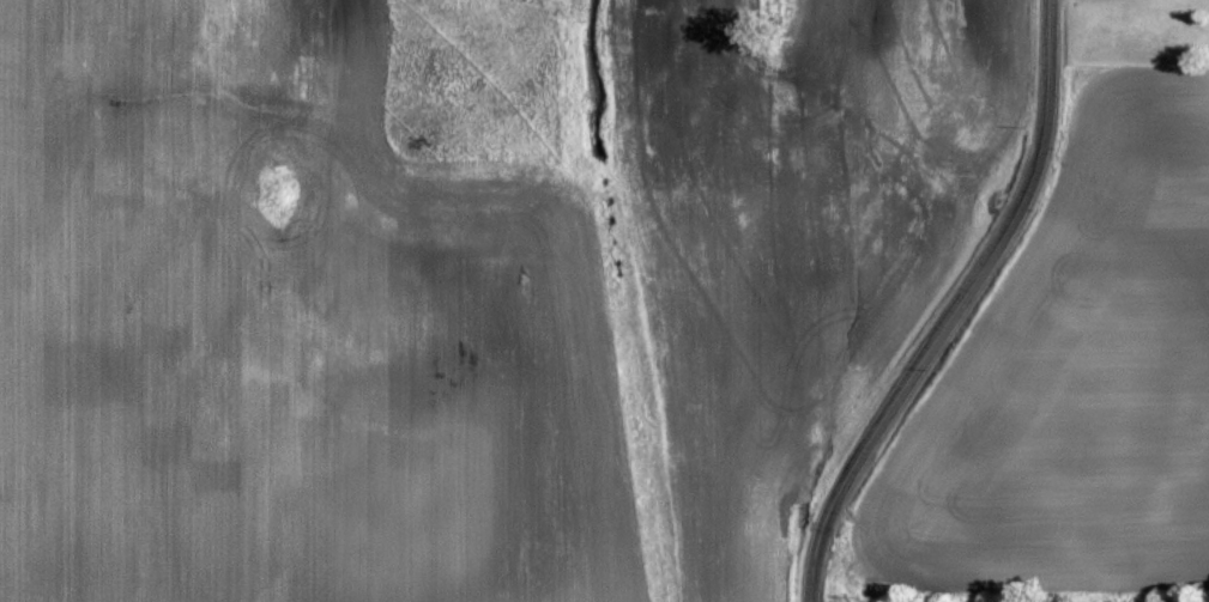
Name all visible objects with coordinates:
road: (957, 309)

